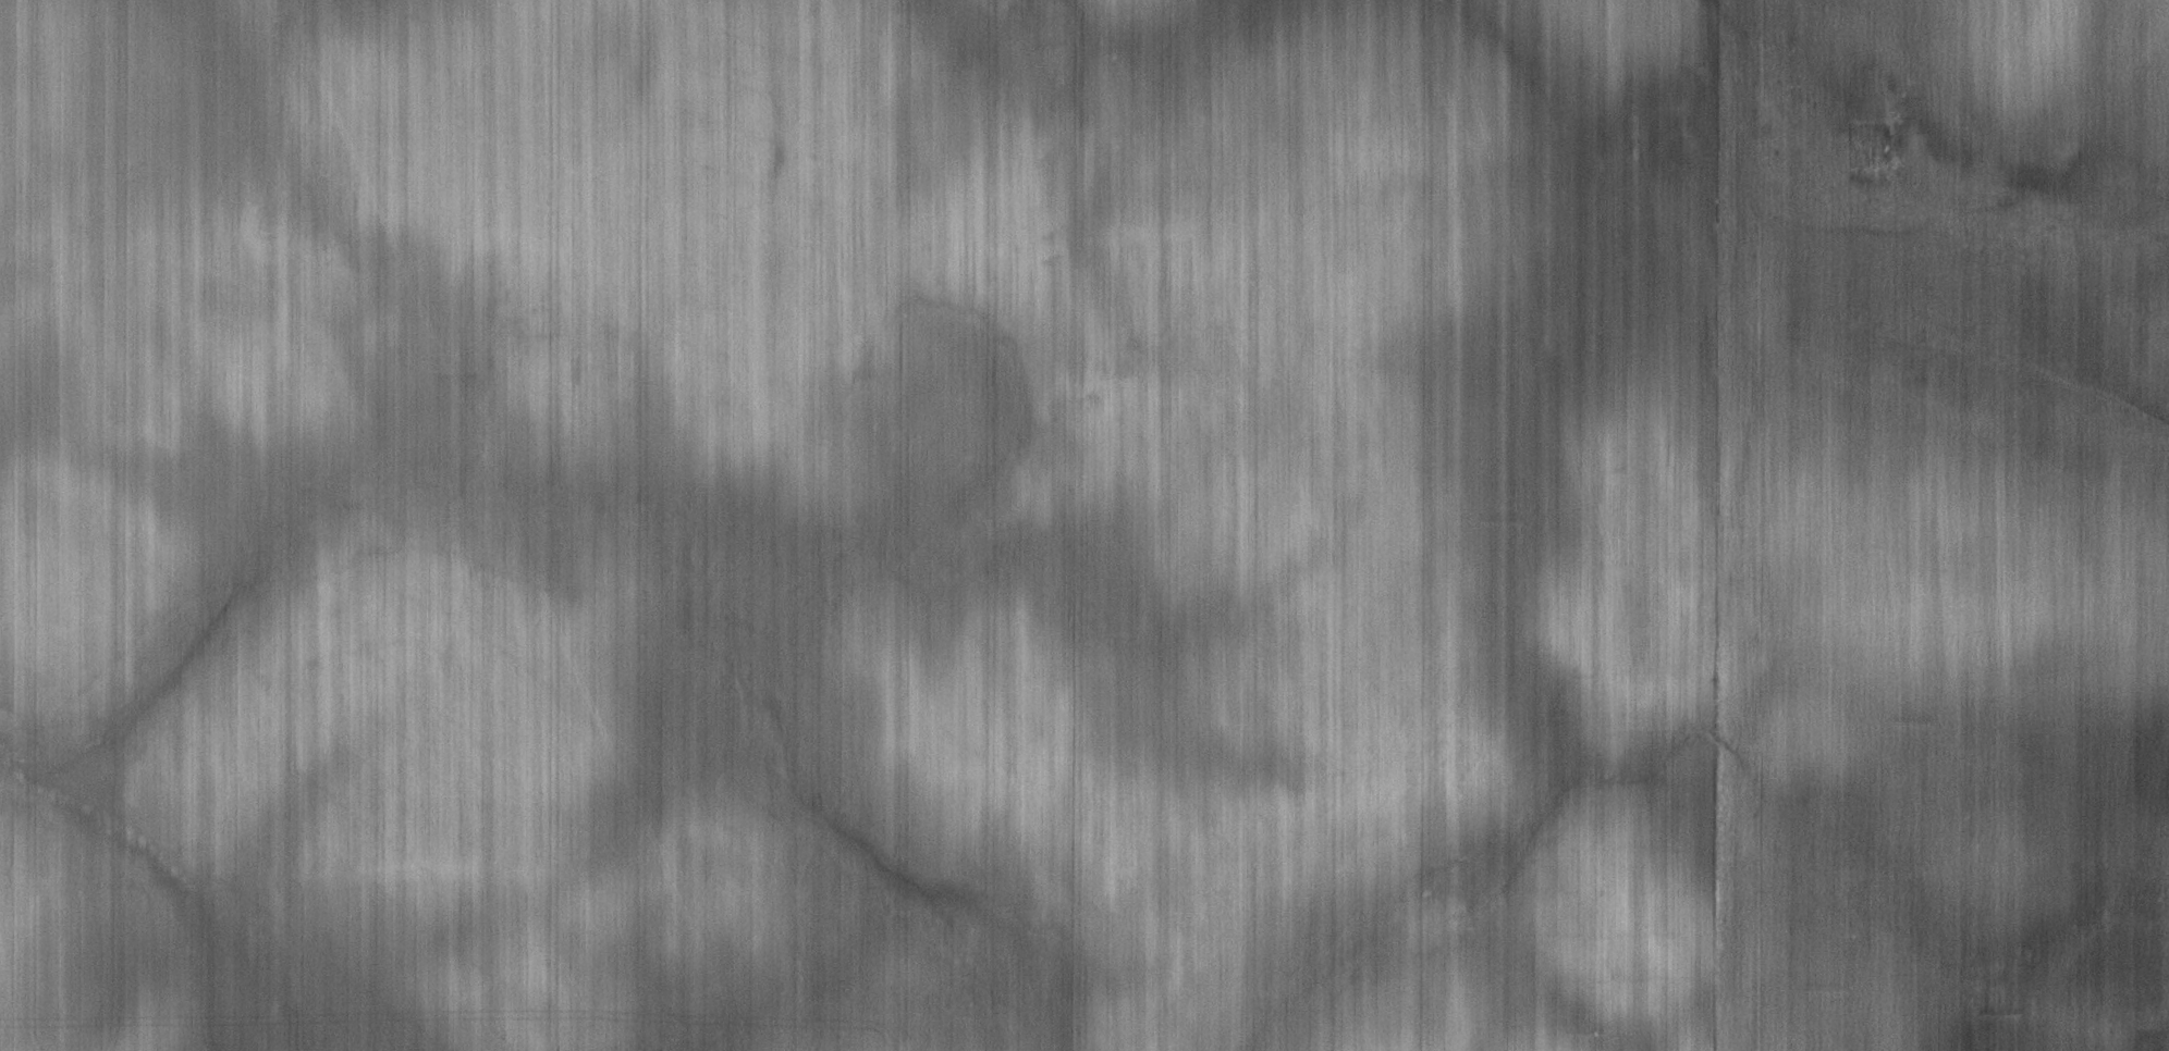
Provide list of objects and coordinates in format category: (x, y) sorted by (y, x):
crop: (1084, 525)

